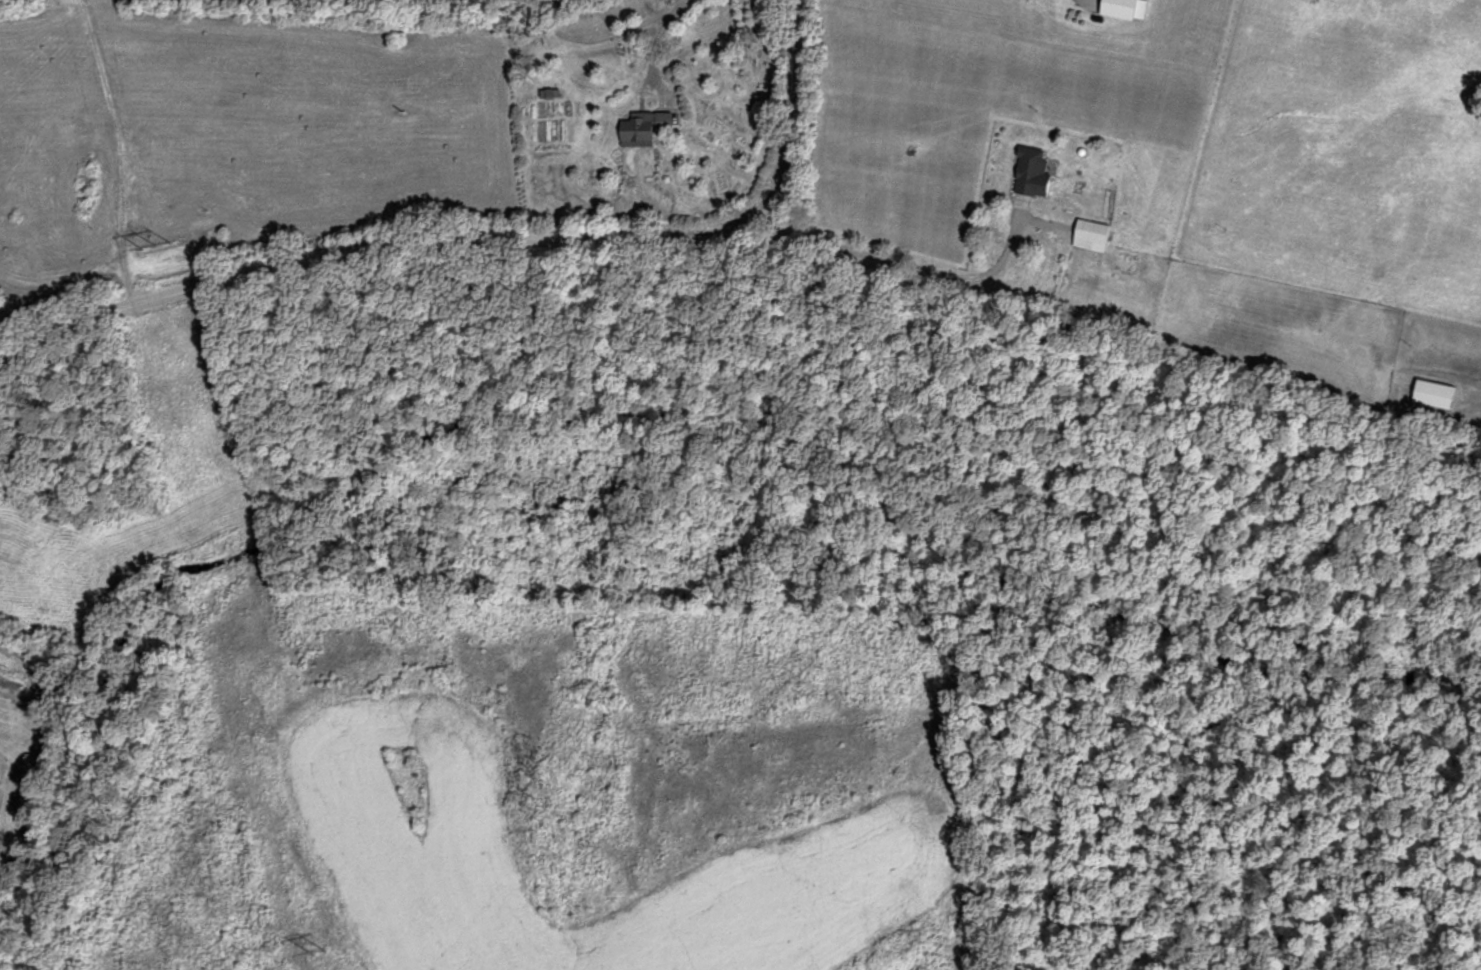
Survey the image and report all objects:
road: (598, 36)
building: (550, 92)
building: (646, 127)
building: (1036, 171)
road: (482, 235)
power tower: (157, 244)
road: (914, 267)
power tower: (319, 955)

